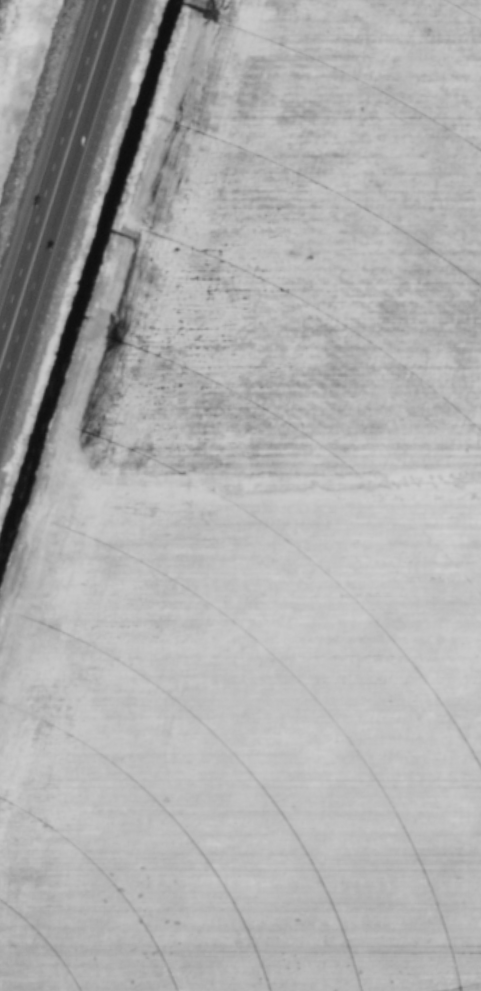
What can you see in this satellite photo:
road: (100, 31)
road: (45, 205)
crop: (263, 533)

